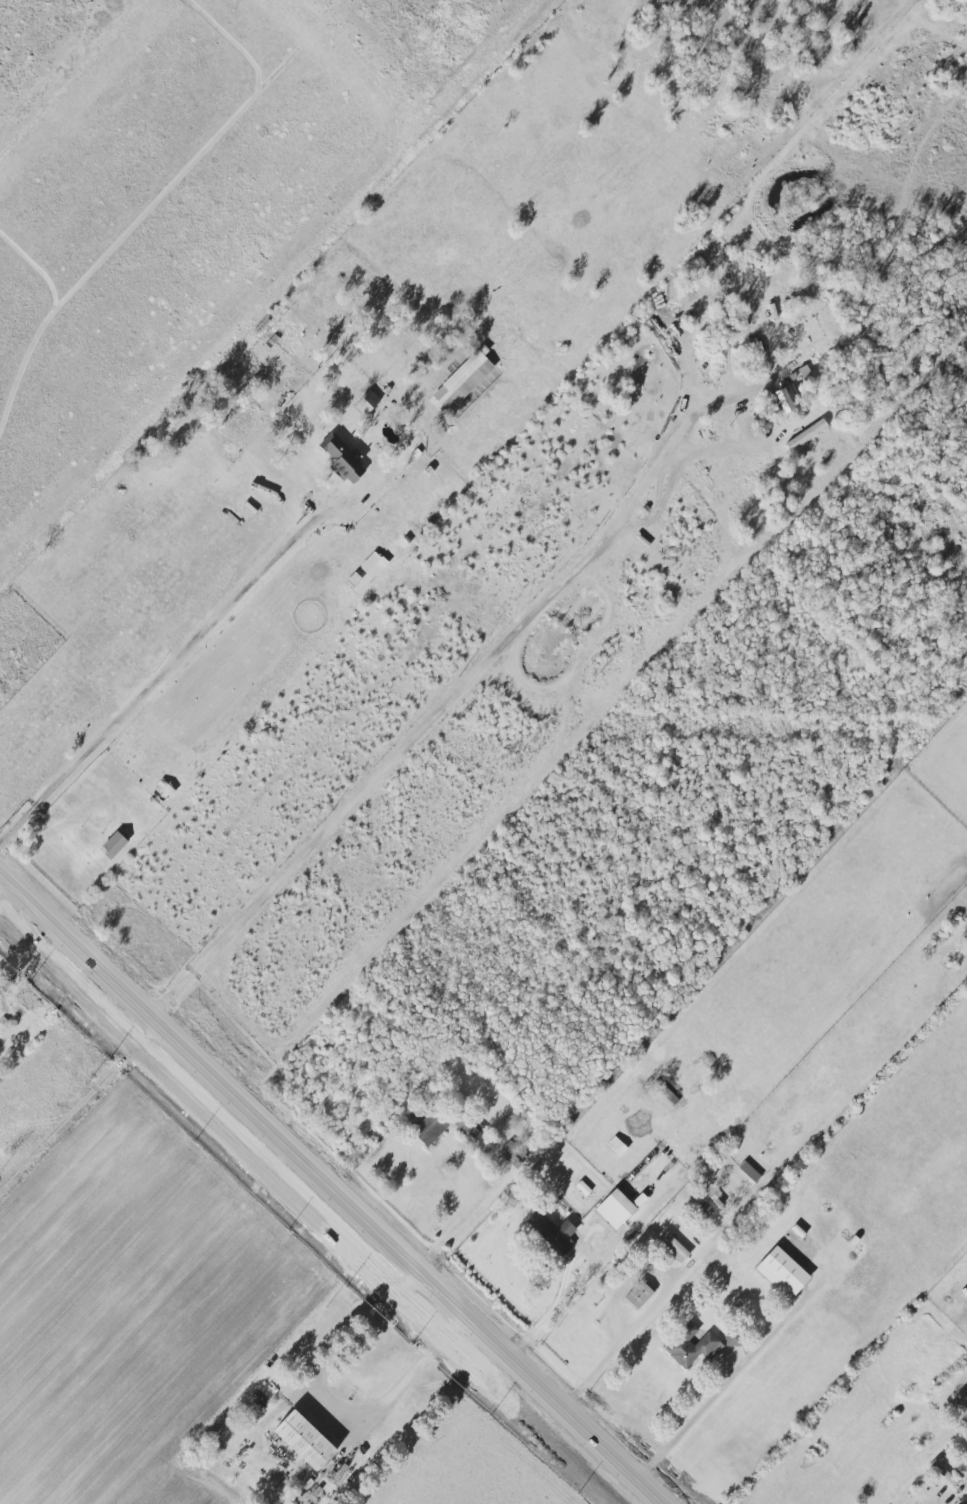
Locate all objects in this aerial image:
building: (464, 378)
building: (367, 402)
building: (806, 434)
building: (342, 457)
building: (366, 572)
road: (183, 645)
road: (454, 694)
building: (113, 844)
road: (0, 876)
road: (80, 1115)
building: (431, 1125)
building: (470, 1127)
building: (582, 1188)
road: (330, 1191)
building: (618, 1207)
building: (553, 1231)
road: (627, 1246)
building: (673, 1246)
building: (782, 1270)
building: (638, 1294)
road: (655, 1306)
building: (692, 1346)
road: (344, 1357)
road: (713, 1406)
building: (966, 1410)
road: (421, 1425)
building: (304, 1439)
building: (944, 1473)
road: (932, 1501)

